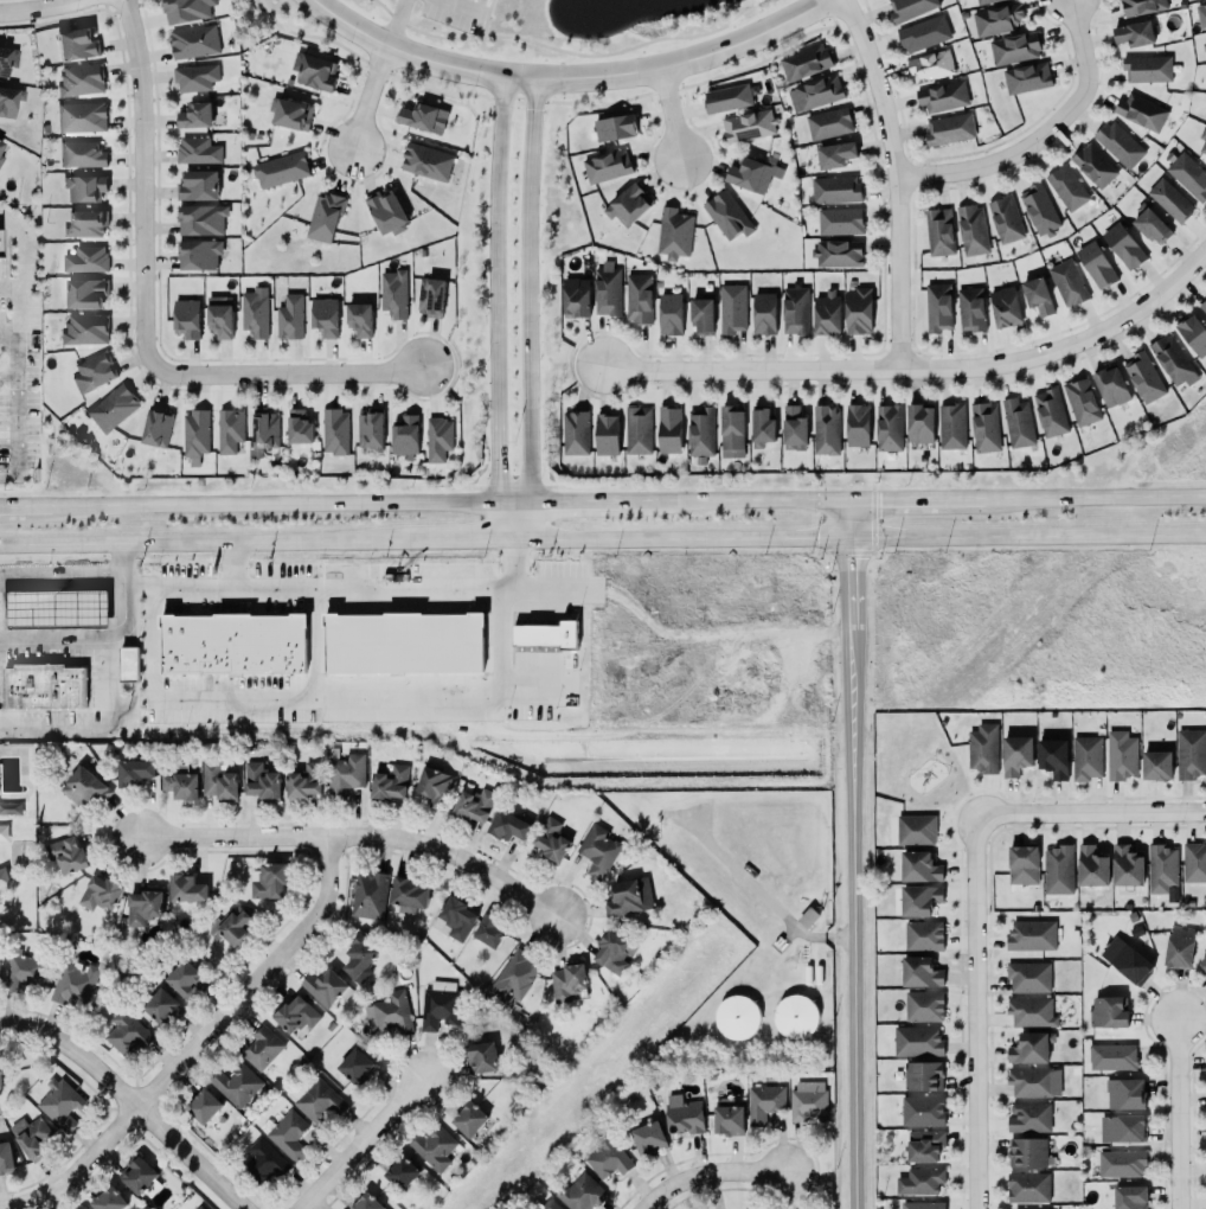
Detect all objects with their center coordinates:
building: (983, 1)
road: (133, 6)
building: (1141, 7)
road: (457, 8)
building: (907, 8)
road: (39, 9)
building: (178, 12)
building: (1204, 12)
road: (825, 13)
parking lot: (449, 14)
road: (481, 17)
road: (482, 19)
building: (995, 20)
road: (392, 24)
building: (922, 33)
building: (1134, 34)
building: (1205, 36)
building: (186, 44)
building: (1205, 45)
building: (68, 46)
building: (1012, 47)
road: (567, 53)
building: (803, 63)
building: (4, 64)
building: (930, 66)
building: (1146, 68)
building: (308, 73)
building: (1024, 78)
building: (187, 79)
road: (563, 81)
building: (76, 84)
building: (814, 94)
building: (941, 96)
road: (366, 98)
building: (726, 98)
road: (534, 101)
building: (7, 105)
building: (1138, 111)
road: (663, 114)
building: (1205, 116)
building: (282, 117)
building: (417, 117)
building: (187, 119)
building: (73, 121)
building: (828, 124)
building: (748, 126)
building: (614, 128)
road: (1037, 128)
building: (949, 129)
building: (1202, 140)
building: (1117, 143)
building: (1, 149)
building: (193, 153)
building: (835, 153)
building: (0, 158)
building: (76, 158)
building: (424, 161)
building: (1093, 166)
building: (607, 167)
building: (272, 173)
building: (748, 175)
building: (1187, 175)
road: (896, 179)
road: (139, 183)
building: (191, 187)
building: (1065, 187)
building: (833, 190)
building: (76, 193)
building: (1168, 200)
building: (627, 206)
building: (1037, 209)
building: (384, 212)
building: (725, 215)
building: (1003, 219)
building: (321, 220)
building: (839, 222)
building: (195, 224)
building: (1148, 224)
building: (79, 228)
building: (970, 230)
building: (672, 232)
building: (938, 232)
building: (0, 247)
building: (1123, 247)
road: (15, 250)
building: (835, 252)
building: (193, 258)
building: (78, 262)
building: (1095, 266)
building: (1065, 282)
road: (9, 286)
building: (605, 288)
building: (392, 294)
building: (1037, 296)
building: (79, 298)
building: (430, 298)
building: (575, 299)
building: (637, 299)
building: (1202, 306)
building: (935, 307)
building: (1003, 307)
building: (731, 309)
building: (794, 309)
building: (855, 309)
building: (969, 309)
road: (15, 311)
road: (496, 311)
road: (530, 312)
building: (669, 314)
building: (763, 314)
building: (826, 314)
building: (699, 316)
building: (249, 319)
building: (283, 320)
building: (180, 322)
building: (320, 322)
building: (217, 326)
building: (357, 326)
building: (78, 332)
building: (1191, 334)
road: (6, 335)
building: (1173, 362)
road: (916, 369)
parking lot: (14, 372)
road: (282, 373)
building: (85, 375)
road: (5, 378)
building: (1143, 378)
building: (1108, 388)
building: (1080, 402)
road: (9, 407)
building: (105, 410)
building: (1050, 412)
building: (1015, 423)
building: (917, 424)
building: (759, 426)
building: (855, 426)
building: (367, 427)
building: (951, 427)
building: (983, 427)
building: (791, 428)
building: (886, 428)
building: (153, 429)
building: (667, 429)
building: (636, 430)
building: (699, 430)
building: (826, 430)
building: (731, 431)
building: (296, 433)
building: (329, 434)
building: (573, 434)
building: (604, 434)
building: (222, 435)
building: (403, 435)
building: (190, 437)
building: (257, 439)
building: (435, 439)
road: (5, 479)
road: (1093, 497)
road: (916, 498)
road: (431, 503)
road: (6, 506)
road: (1028, 536)
road: (468, 539)
road: (682, 539)
road: (212, 543)
road: (222, 567)
road: (256, 591)
road: (528, 591)
parking lot: (223, 593)
gas station: (52, 614)
building: (546, 635)
road: (104, 646)
building: (229, 648)
building: (360, 655)
building: (124, 669)
road: (535, 678)
parking lot: (98, 679)
building: (40, 691)
parking lot: (219, 702)
road: (323, 702)
road: (89, 728)
building: (982, 749)
building: (1183, 754)
building: (1015, 755)
building: (1120, 756)
building: (1085, 757)
building: (1052, 759)
building: (1156, 766)
building: (133, 770)
building: (344, 774)
building: (179, 781)
building: (217, 781)
building: (261, 781)
building: (302, 781)
building: (390, 783)
building: (83, 787)
building: (434, 788)
building: (474, 806)
building: (9, 808)
road: (1086, 817)
building: (508, 827)
building: (915, 829)
road: (351, 837)
park: (13, 838)
building: (551, 839)
building: (597, 850)
building: (68, 855)
road: (861, 855)
building: (1193, 863)
building: (1020, 864)
building: (1125, 864)
building: (918, 865)
building: (1091, 868)
building: (1160, 868)
building: (1057, 869)
building: (269, 879)
building: (186, 889)
building: (100, 894)
building: (368, 894)
building: (409, 894)
building: (628, 897)
road: (764, 898)
building: (918, 898)
building: (143, 907)
building: (456, 919)
building: (804, 921)
building: (232, 926)
building: (489, 932)
building: (922, 934)
building: (1025, 938)
building: (1174, 947)
building: (605, 952)
building: (359, 954)
building: (1124, 960)
building: (1201, 961)
building: (918, 970)
building: (23, 972)
building: (1027, 975)
building: (184, 978)
building: (513, 978)
building: (562, 983)
building: (73, 985)
building: (323, 985)
building: (158, 1005)
building: (923, 1006)
building: (438, 1009)
building: (391, 1011)
building: (1029, 1011)
building: (1108, 1012)
road: (966, 1013)
building: (295, 1015)
building: (794, 1017)
building: (736, 1018)
building: (126, 1034)
building: (916, 1041)
road: (194, 1047)
building: (259, 1047)
building: (1029, 1048)
building: (480, 1057)
building: (1111, 1057)
building: (354, 1067)
building: (922, 1075)
building: (0, 1081)
building: (1031, 1082)
building: (236, 1083)
building: (1124, 1094)
road: (134, 1100)
building: (317, 1101)
building: (807, 1101)
building: (59, 1102)
building: (763, 1104)
building: (203, 1105)
road: (1170, 1106)
building: (920, 1109)
building: (684, 1117)
building: (1028, 1117)
building: (469, 1119)
building: (727, 1119)
building: (1120, 1127)
building: (287, 1136)
building: (32, 1138)
building: (648, 1138)
road: (357, 1144)
building: (923, 1144)
building: (434, 1149)
building: (1027, 1153)
building: (5, 1156)
building: (607, 1158)
building: (262, 1160)
building: (1120, 1163)
building: (400, 1171)
road: (708, 1172)
building: (137, 1173)
building: (919, 1182)
building: (1027, 1188)
building: (580, 1192)
building: (1129, 1197)
building: (108, 1198)
building: (366, 1202)
building: (544, 1204)
building: (923, 1205)
building: (199, 1207)
building: (81, 1208)
building: (84, 1208)

